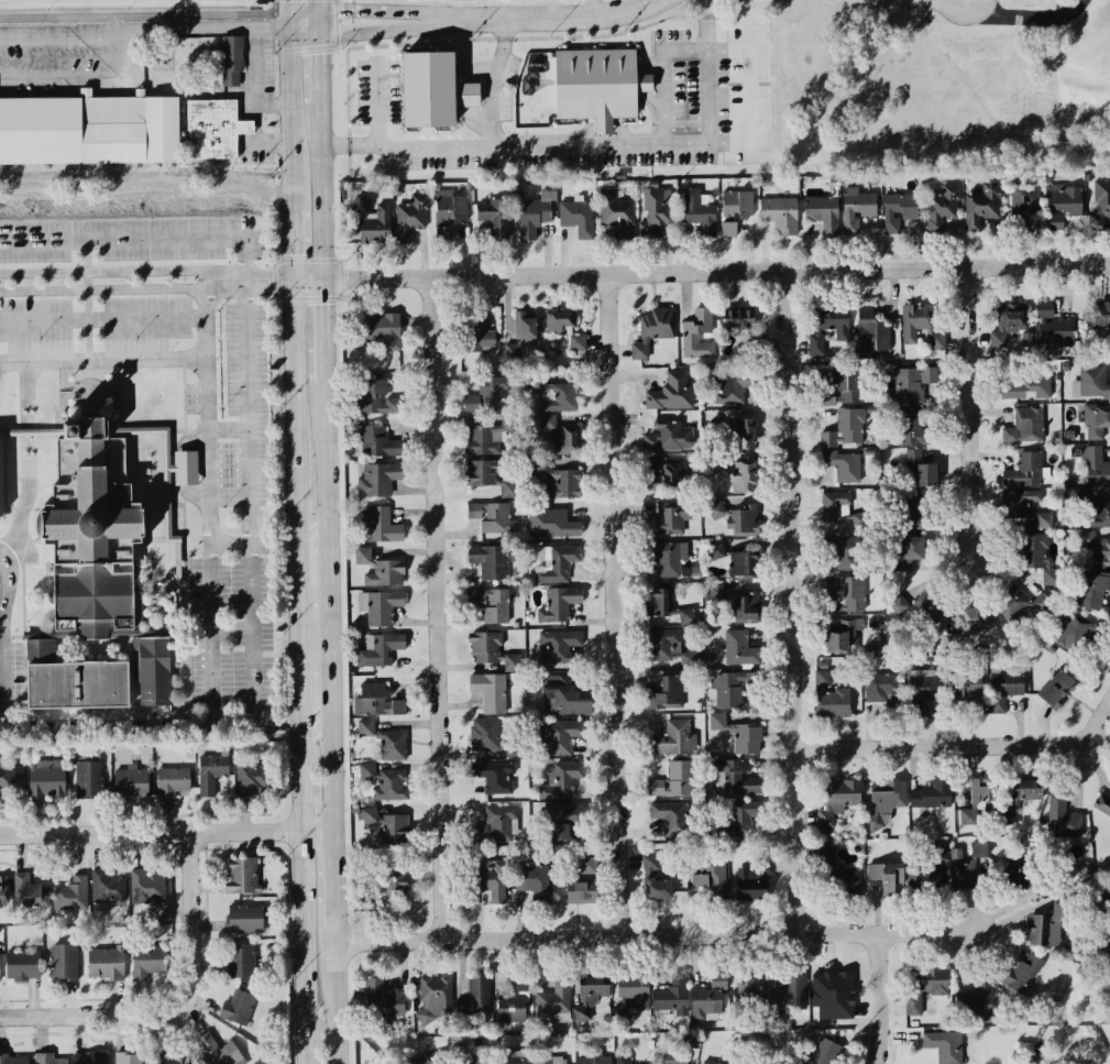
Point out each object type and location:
road: (317, 4)
road: (606, 9)
traffic signals: (318, 10)
road: (366, 10)
road: (284, 12)
road: (1030, 18)
road: (561, 20)
traffic signals: (285, 25)
road: (196, 28)
road: (367, 33)
traffic signals: (318, 34)
road: (61, 43)
road: (318, 62)
building: (160, 63)
building: (232, 63)
road: (76, 75)
road: (667, 77)
road: (494, 84)
building: (604, 89)
road: (381, 103)
road: (287, 118)
building: (88, 131)
building: (213, 131)
road: (351, 145)
road: (617, 146)
road: (161, 196)
road: (323, 197)
building: (1066, 202)
building: (1101, 202)
building: (1025, 206)
building: (658, 207)
building: (982, 207)
building: (943, 208)
building: (856, 210)
building: (451, 212)
building: (699, 212)
building: (899, 212)
building: (735, 213)
building: (822, 215)
building: (617, 216)
building: (780, 216)
building: (495, 219)
building: (576, 219)
building: (532, 220)
building: (409, 221)
building: (376, 227)
road: (143, 239)
road: (290, 245)
road: (701, 273)
traffic signals: (292, 281)
traffic signals: (325, 281)
road: (145, 283)
road: (103, 317)
building: (740, 320)
building: (1101, 322)
building: (828, 327)
building: (921, 327)
building: (1007, 328)
building: (1053, 329)
building: (564, 330)
building: (652, 331)
road: (326, 332)
building: (383, 334)
building: (521, 334)
building: (871, 334)
building: (696, 336)
building: (480, 342)
building: (1030, 342)
road: (118, 359)
building: (1092, 384)
building: (912, 385)
building: (730, 388)
building: (1029, 390)
building: (846, 391)
building: (672, 394)
building: (487, 396)
building: (556, 397)
building: (378, 399)
road: (293, 405)
road: (970, 414)
building: (1096, 424)
building: (1025, 428)
building: (912, 430)
building: (846, 431)
building: (560, 436)
building: (743, 436)
building: (488, 438)
building: (670, 438)
road: (198, 439)
building: (376, 445)
road: (28, 447)
road: (328, 457)
building: (844, 467)
road: (187, 469)
building: (1096, 470)
building: (186, 471)
building: (921, 471)
building: (1025, 472)
building: (667, 476)
building: (491, 478)
building: (744, 479)
road: (253, 480)
building: (380, 480)
building: (557, 482)
building: (2, 483)
road: (200, 500)
road: (212, 500)
building: (1025, 512)
building: (1093, 513)
building: (840, 514)
building: (915, 516)
building: (493, 519)
building: (738, 520)
building: (670, 522)
building: (554, 525)
building: (380, 527)
building: (81, 531)
building: (1097, 551)
building: (909, 552)
building: (843, 553)
building: (1037, 558)
building: (669, 560)
building: (490, 562)
building: (736, 563)
building: (559, 566)
building: (380, 571)
building: (1091, 592)
building: (848, 596)
road: (791, 604)
building: (559, 605)
building: (1019, 605)
building: (491, 606)
road: (616, 606)
building: (380, 608)
building: (666, 608)
road: (437, 610)
building: (747, 610)
building: (917, 615)
building: (974, 621)
road: (331, 624)
road: (298, 625)
road: (8, 636)
building: (842, 638)
building: (1079, 638)
building: (953, 643)
building: (558, 647)
building: (670, 649)
building: (487, 650)
building: (739, 650)
building: (44, 651)
building: (381, 651)
building: (515, 665)
building: (145, 670)
building: (66, 682)
building: (924, 688)
building: (1003, 690)
building: (965, 691)
building: (1056, 691)
building: (490, 692)
building: (738, 692)
building: (883, 692)
road: (267, 694)
building: (667, 696)
building: (831, 699)
building: (564, 700)
building: (378, 702)
road: (133, 719)
road: (316, 719)
road: (282, 722)
road: (299, 730)
building: (562, 737)
building: (490, 739)
building: (672, 741)
building: (747, 742)
building: (386, 743)
road: (959, 747)
road: (334, 774)
building: (211, 775)
building: (9, 778)
building: (494, 778)
building: (253, 780)
building: (736, 780)
building: (46, 781)
building: (88, 781)
building: (561, 781)
building: (131, 782)
building: (674, 782)
building: (173, 783)
building: (386, 783)
building: (932, 797)
building: (1023, 798)
building: (837, 800)
building: (884, 802)
building: (980, 802)
building: (1102, 805)
building: (671, 818)
building: (743, 820)
building: (1062, 820)
building: (564, 821)
building: (496, 827)
building: (386, 829)
road: (167, 837)
building: (968, 865)
building: (766, 867)
building: (242, 877)
building: (712, 877)
building: (926, 877)
building: (886, 878)
road: (337, 879)
building: (491, 880)
building: (534, 882)
building: (655, 882)
building: (584, 884)
building: (849, 884)
building: (383, 886)
building: (108, 889)
building: (1040, 889)
building: (147, 890)
building: (3, 891)
building: (751, 893)
building: (29, 895)
building: (70, 897)
road: (304, 900)
building: (244, 921)
building: (1040, 932)
road: (657, 937)
building: (147, 963)
building: (240, 963)
building: (64, 964)
building: (106, 965)
building: (22, 967)
building: (0, 969)
building: (1022, 975)
building: (923, 988)
building: (791, 994)
building: (594, 995)
road: (338, 996)
building: (750, 996)
building: (633, 997)
building: (433, 998)
building: (710, 998)
road: (880, 998)
building: (475, 999)
building: (512, 1000)
building: (554, 1000)
building: (977, 1000)
building: (383, 1001)
building: (670, 1001)
building: (839, 1001)
road: (176, 1008)
building: (238, 1009)
building: (944, 1046)
building: (219, 1052)
building: (824, 1053)
building: (515, 1057)
building: (129, 1058)
building: (169, 1058)
building: (51, 1060)
building: (90, 1060)
building: (430, 1060)
building: (671, 1060)
building: (13, 1061)
building: (624, 1061)
building: (551, 1062)
building: (594, 1062)
building: (707, 1063)

